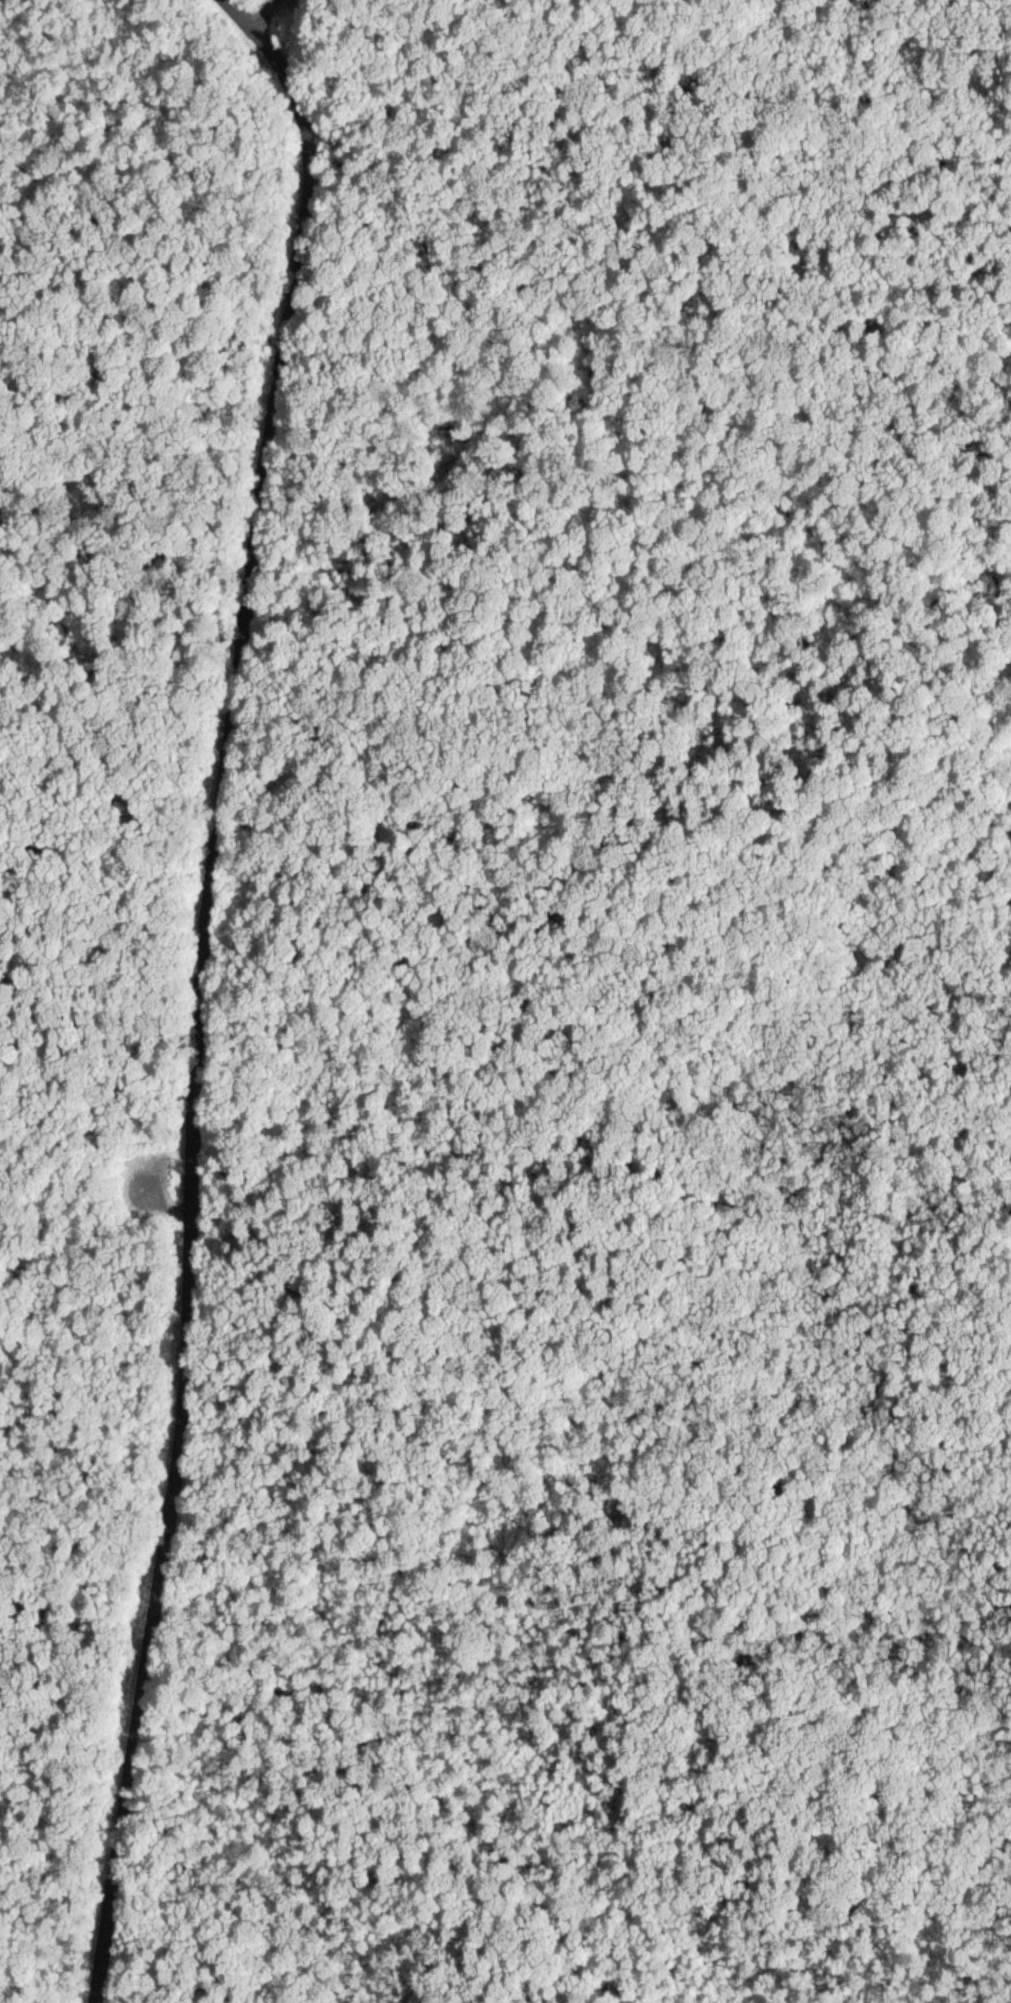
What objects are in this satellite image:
road: (272, 31)
road: (209, 991)
road: (90, 1219)

